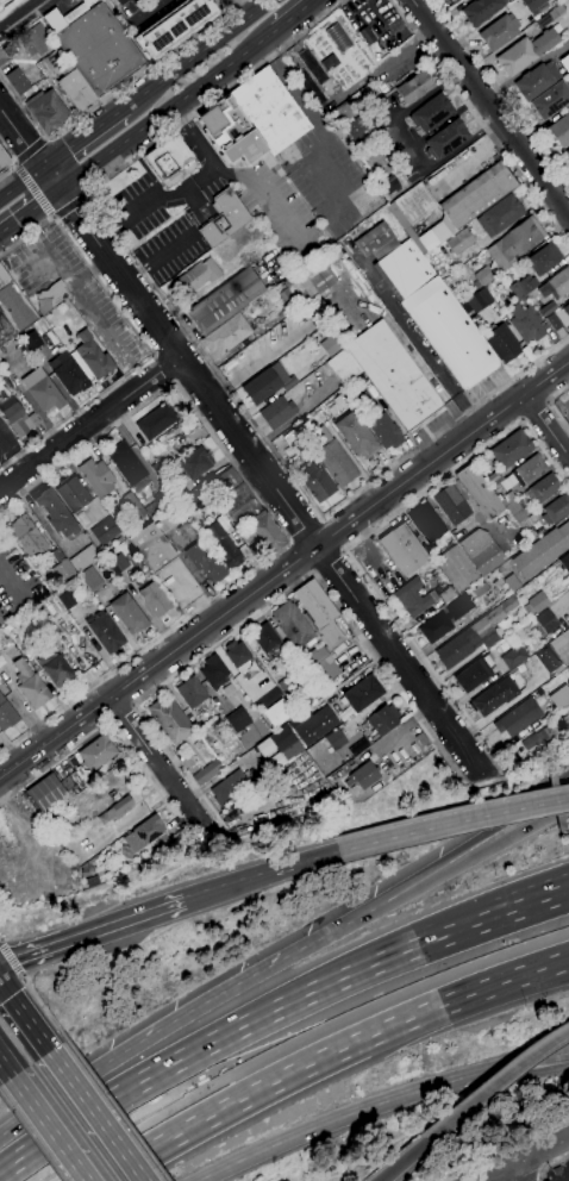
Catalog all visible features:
building: (120, 1)
building: (1, 4)
building: (532, 4)
road: (148, 10)
building: (481, 10)
road: (235, 11)
road: (294, 15)
building: (550, 15)
building: (173, 26)
building: (499, 31)
building: (337, 37)
building: (368, 37)
building: (36, 39)
building: (94, 45)
building: (526, 51)
building: (6, 52)
road: (198, 54)
building: (330, 62)
building: (564, 62)
building: (18, 80)
building: (536, 80)
building: (75, 87)
building: (414, 87)
road: (108, 93)
road: (501, 93)
building: (551, 99)
building: (351, 105)
road: (490, 107)
building: (46, 111)
road: (167, 111)
building: (269, 111)
building: (431, 113)
road: (314, 118)
road: (480, 123)
building: (362, 127)
building: (561, 131)
building: (231, 132)
road: (83, 137)
road: (46, 139)
building: (446, 139)
road: (196, 146)
road: (30, 149)
road: (31, 150)
road: (8, 151)
building: (568, 152)
building: (169, 158)
building: (4, 160)
road: (17, 163)
road: (15, 165)
road: (7, 169)
road: (20, 183)
road: (198, 183)
building: (390, 183)
road: (33, 189)
building: (477, 194)
road: (273, 201)
road: (71, 204)
road: (29, 211)
road: (135, 212)
building: (500, 214)
road: (52, 215)
road: (55, 217)
building: (418, 217)
building: (224, 218)
road: (26, 236)
building: (237, 240)
building: (375, 240)
building: (459, 240)
building: (515, 240)
building: (543, 257)
building: (404, 270)
building: (199, 275)
building: (320, 276)
road: (65, 279)
building: (526, 282)
building: (556, 285)
building: (481, 290)
building: (518, 290)
building: (293, 294)
building: (51, 296)
building: (225, 301)
building: (14, 304)
building: (567, 310)
building: (552, 318)
building: (524, 323)
building: (5, 330)
building: (344, 333)
building: (450, 333)
building: (227, 335)
building: (31, 339)
road: (170, 342)
building: (502, 342)
building: (331, 345)
road: (200, 348)
building: (93, 356)
road: (146, 362)
building: (344, 367)
road: (164, 369)
road: (185, 369)
road: (192, 370)
building: (68, 374)
building: (394, 376)
building: (264, 383)
building: (43, 390)
road: (551, 405)
road: (536, 412)
building: (279, 413)
building: (14, 414)
building: (35, 419)
building: (156, 420)
road: (88, 425)
road: (545, 426)
building: (386, 431)
building: (355, 435)
building: (511, 449)
road: (13, 450)
road: (443, 454)
building: (333, 457)
building: (127, 463)
building: (194, 463)
building: (156, 468)
building: (527, 470)
building: (96, 476)
building: (226, 481)
building: (317, 482)
building: (543, 489)
building: (480, 492)
building: (179, 493)
building: (73, 494)
building: (198, 500)
building: (161, 504)
building: (556, 510)
building: (519, 512)
building: (56, 513)
building: (423, 513)
building: (169, 518)
building: (240, 518)
building: (83, 520)
road: (274, 520)
road: (306, 530)
building: (105, 531)
road: (334, 533)
building: (27, 536)
road: (358, 540)
building: (224, 546)
building: (152, 548)
building: (481, 551)
building: (543, 551)
road: (301, 557)
building: (85, 558)
road: (329, 561)
building: (205, 562)
building: (565, 562)
building: (117, 564)
building: (408, 568)
building: (456, 568)
building: (63, 569)
building: (92, 579)
building: (512, 582)
parking lot: (179, 585)
building: (477, 589)
building: (446, 595)
building: (65, 596)
building: (155, 598)
road: (270, 604)
building: (537, 604)
building: (49, 607)
building: (319, 612)
building: (129, 613)
building: (445, 618)
building: (548, 621)
building: (293, 625)
building: (105, 630)
building: (475, 635)
building: (4, 638)
building: (269, 642)
building: (557, 642)
building: (0, 651)
building: (237, 654)
building: (515, 655)
road: (158, 661)
road: (400, 661)
building: (549, 661)
building: (321, 663)
building: (21, 670)
building: (56, 670)
building: (214, 671)
building: (475, 673)
building: (333, 681)
building: (33, 692)
building: (192, 693)
building: (363, 693)
building: (302, 695)
building: (494, 696)
building: (559, 696)
road: (133, 705)
building: (567, 712)
building: (279, 713)
building: (6, 714)
road: (120, 714)
building: (518, 718)
building: (170, 719)
building: (238, 719)
building: (383, 719)
building: (311, 723)
road: (402, 725)
road: (111, 726)
building: (546, 733)
building: (336, 739)
building: (286, 743)
building: (98, 752)
road: (162, 769)
building: (207, 773)
building: (363, 775)
building: (81, 777)
building: (67, 782)
building: (230, 788)
building: (48, 794)
building: (555, 799)
building: (117, 810)
road: (452, 823)
building: (145, 833)
road: (467, 844)
building: (125, 852)
road: (468, 860)
building: (86, 873)
road: (260, 873)
road: (531, 904)
road: (90, 932)
road: (11, 958)
road: (23, 977)
road: (44, 1008)
road: (24, 1013)
road: (179, 1017)
road: (238, 1029)
road: (567, 1052)
road: (567, 1052)
road: (329, 1055)
road: (5, 1068)
road: (496, 1081)
road: (376, 1104)
road: (117, 1110)
road: (96, 1116)
road: (48, 1129)
road: (31, 1137)
road: (507, 1150)
road: (402, 1158)
road: (525, 1160)
road: (551, 1167)
road: (523, 1170)
road: (540, 1171)
road: (531, 1176)

